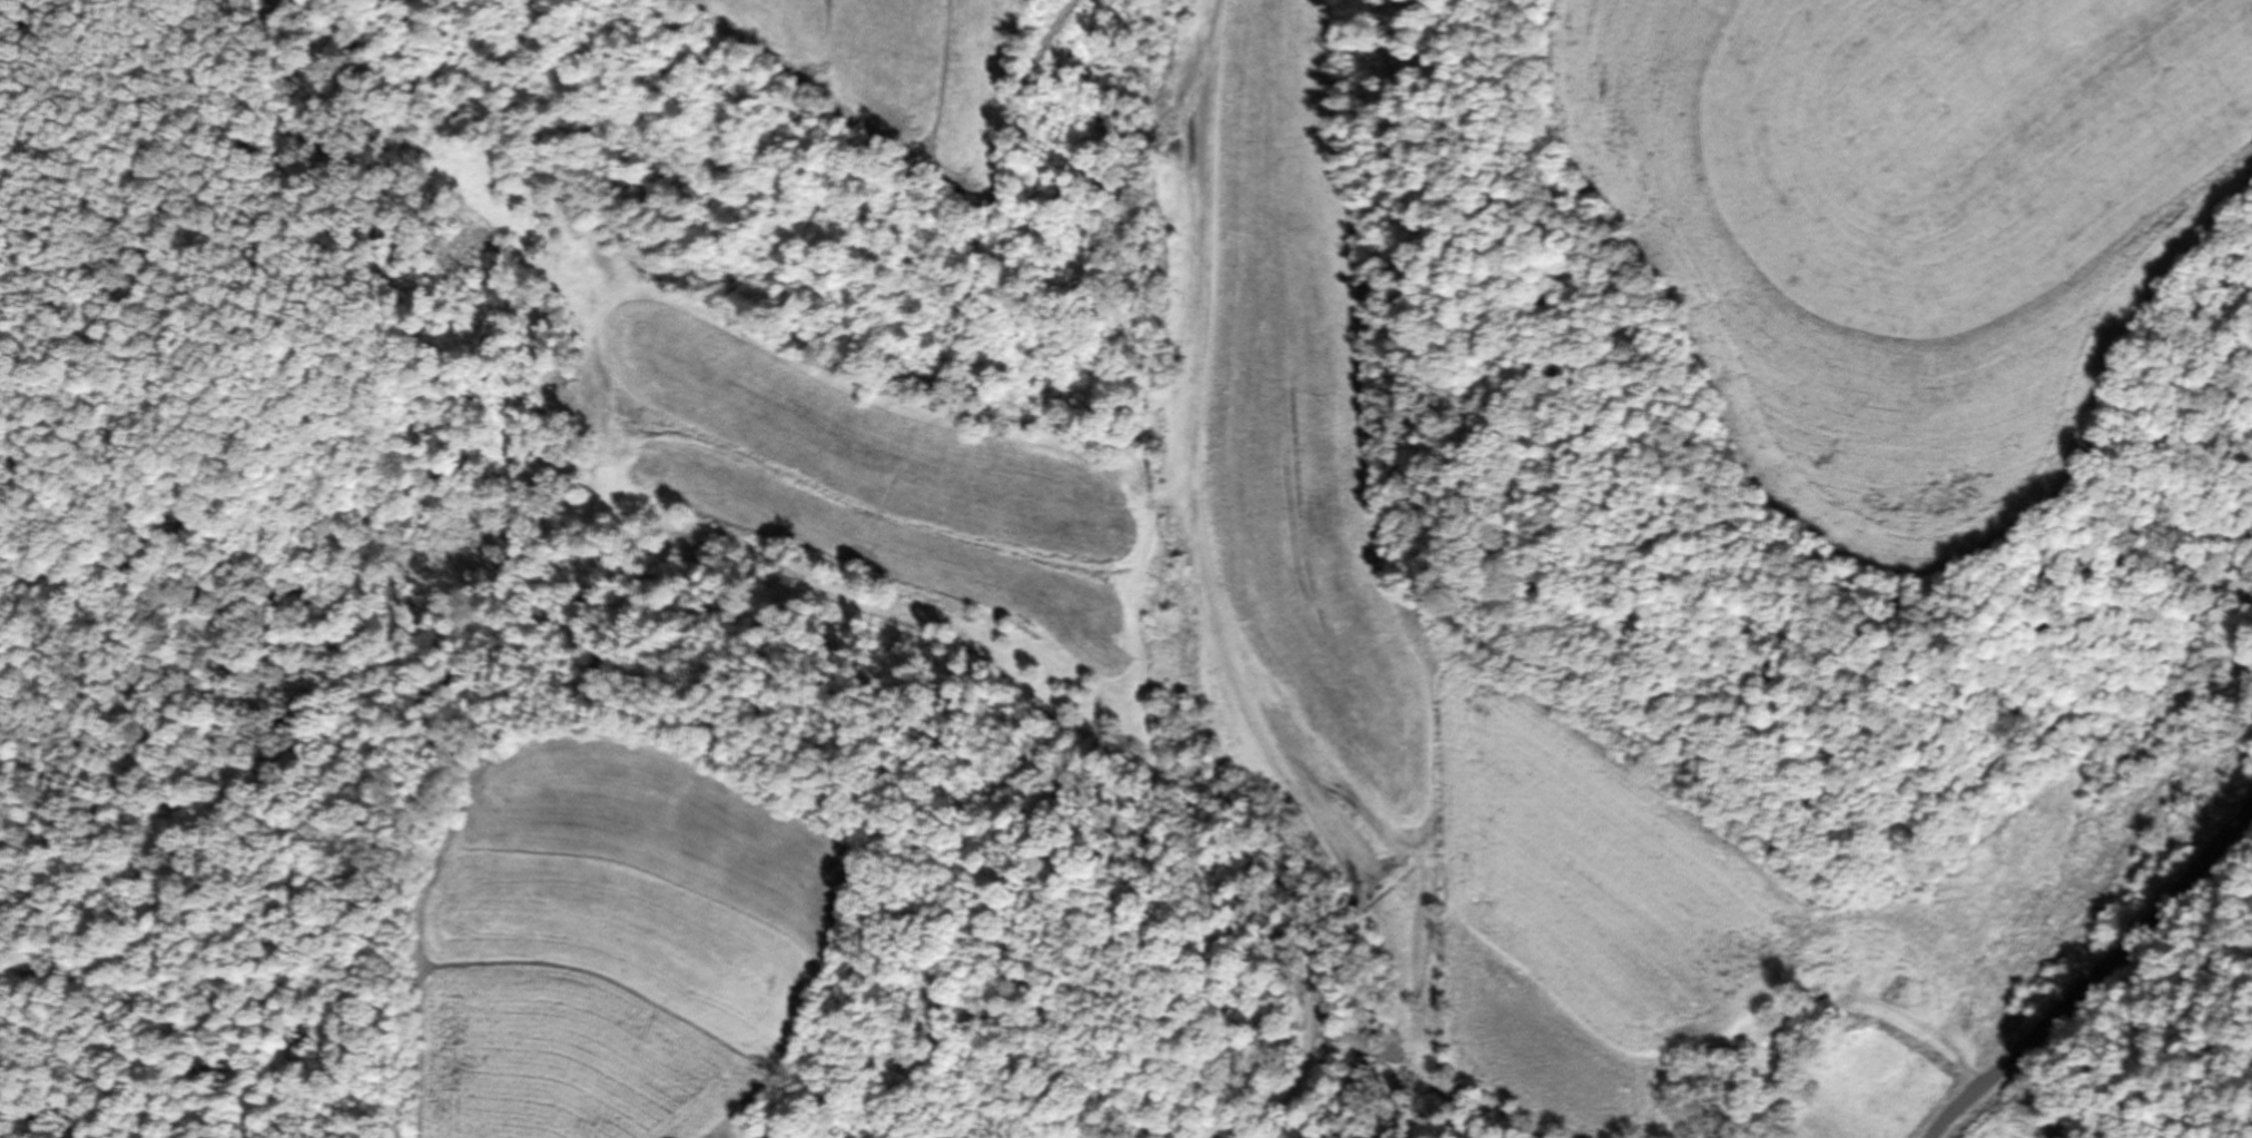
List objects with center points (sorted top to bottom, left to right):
road: (2097, 974)
building: (1815, 1017)

